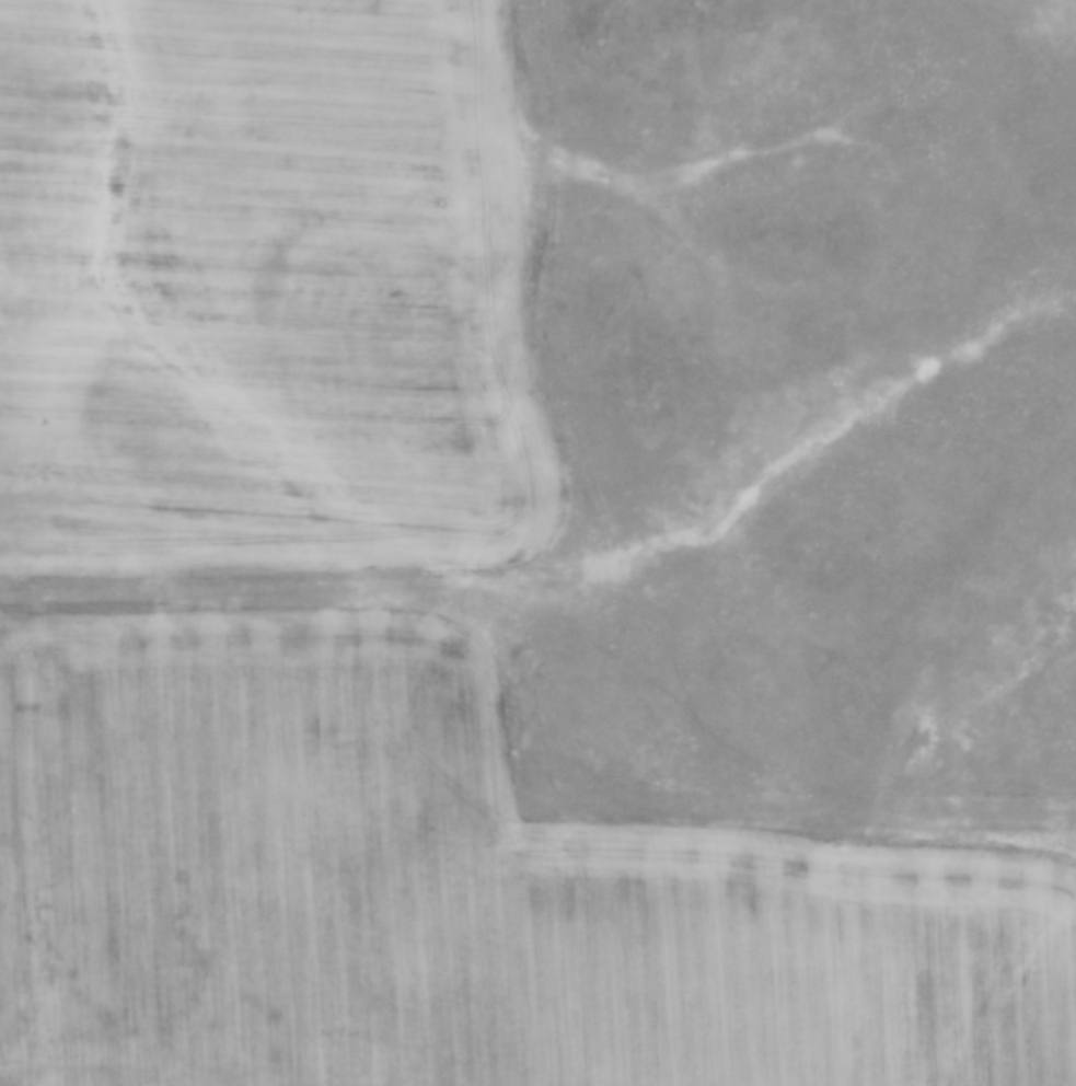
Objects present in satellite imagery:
road: (490, 612)
road: (334, 833)

